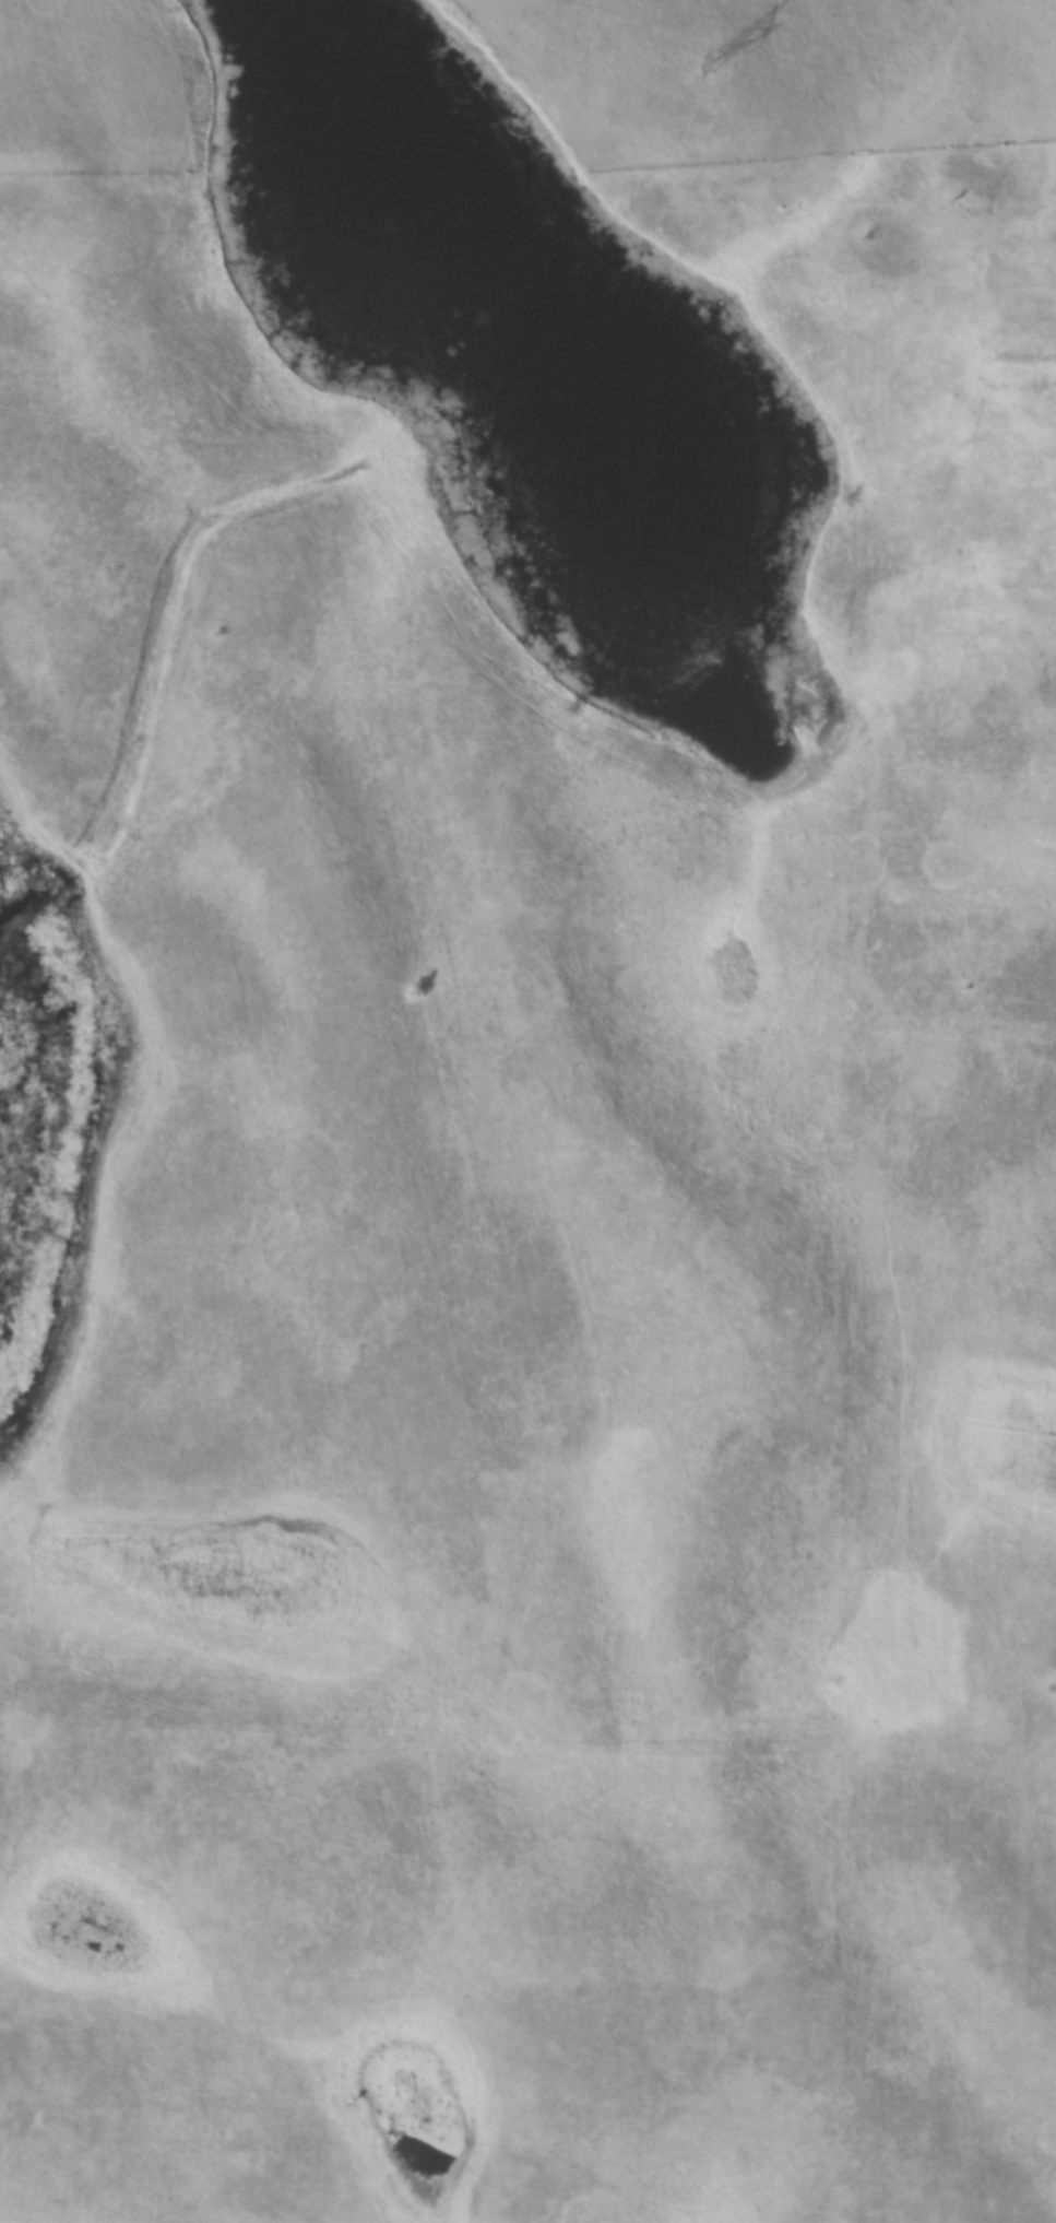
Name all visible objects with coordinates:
power tower: (723, 59)

